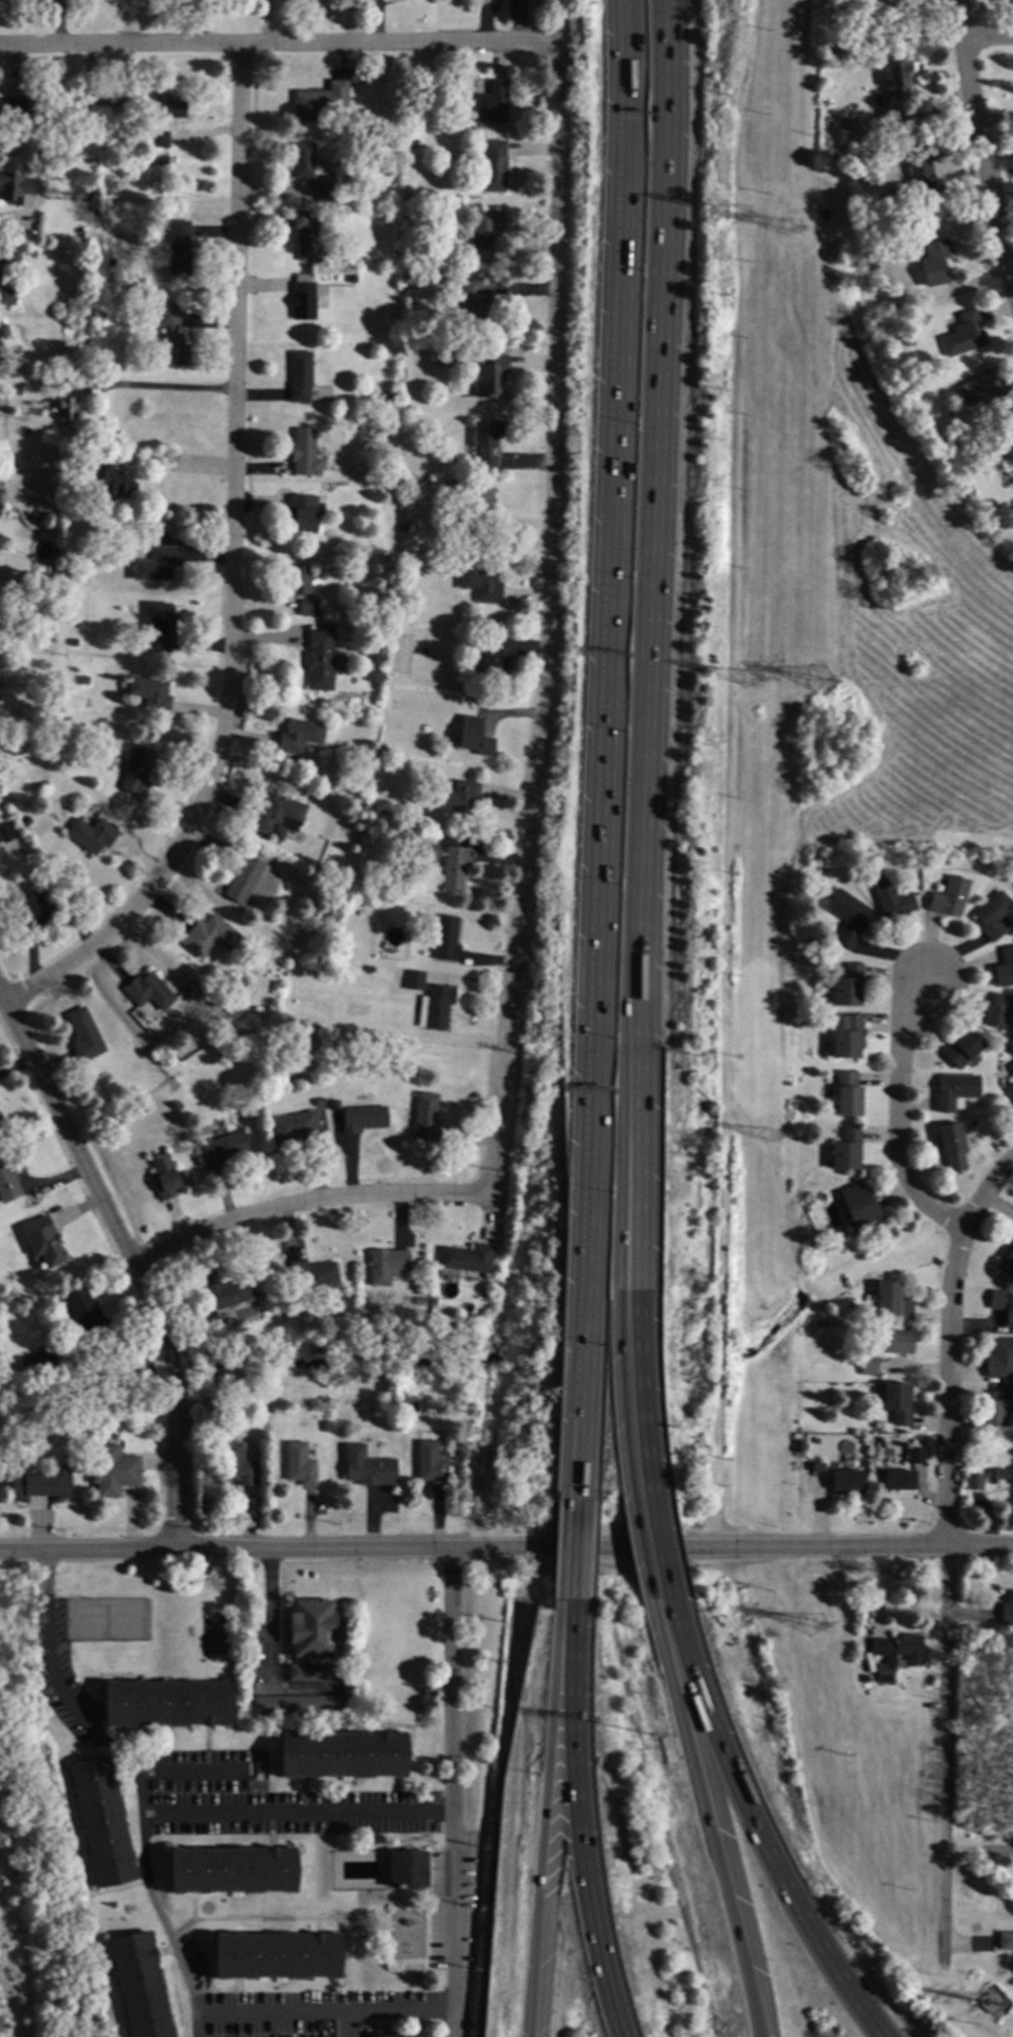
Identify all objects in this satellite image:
building: (887, 7)
road: (276, 39)
road: (987, 40)
building: (354, 77)
building: (898, 79)
building: (320, 101)
building: (493, 104)
building: (168, 107)
building: (13, 108)
building: (104, 108)
building: (409, 125)
building: (862, 128)
building: (160, 140)
road: (982, 140)
building: (343, 143)
building: (41, 147)
building: (49, 147)
building: (832, 157)
building: (164, 160)
building: (305, 162)
building: (493, 166)
building: (917, 171)
building: (17, 188)
building: (325, 191)
building: (83, 196)
power tower: (741, 216)
road: (16, 218)
power tower: (795, 232)
building: (484, 234)
building: (306, 235)
building: (178, 248)
building: (10, 254)
building: (109, 262)
building: (934, 263)
building: (353, 265)
building: (351, 278)
building: (403, 279)
building: (6, 295)
building: (302, 299)
building: (470, 307)
building: (100, 311)
building: (964, 336)
building: (892, 338)
building: (171, 340)
building: (405, 351)
building: (440, 358)
building: (89, 368)
building: (299, 377)
building: (488, 377)
building: (65, 382)
road: (158, 387)
building: (984, 390)
building: (387, 395)
building: (66, 409)
building: (486, 444)
building: (946, 447)
building: (1009, 449)
building: (951, 453)
building: (304, 454)
building: (88, 456)
road: (179, 465)
building: (115, 484)
building: (64, 505)
building: (471, 508)
building: (302, 513)
building: (402, 528)
building: (158, 537)
building: (156, 565)
road: (234, 565)
building: (53, 574)
building: (298, 581)
building: (480, 584)
building: (308, 608)
road: (547, 622)
building: (160, 628)
building: (49, 642)
building: (73, 642)
building: (421, 652)
building: (319, 661)
building: (495, 661)
power tower: (755, 680)
building: (83, 681)
power tower: (825, 684)
building: (149, 693)
building: (298, 736)
building: (474, 737)
road: (601, 745)
road: (645, 749)
building: (298, 764)
building: (137, 774)
building: (456, 798)
building: (380, 813)
building: (278, 814)
building: (25, 823)
building: (6, 832)
building: (91, 835)
building: (277, 835)
building: (8, 842)
building: (430, 842)
building: (453, 868)
building: (825, 868)
building: (854, 869)
building: (243, 878)
building: (344, 878)
building: (397, 892)
building: (949, 898)
building: (891, 899)
building: (34, 911)
building: (847, 917)
building: (992, 917)
building: (209, 937)
building: (444, 940)
road: (729, 951)
building: (369, 969)
building: (1004, 969)
building: (414, 981)
building: (847, 985)
building: (149, 992)
building: (436, 1006)
building: (998, 1011)
building: (84, 1035)
building: (841, 1037)
building: (149, 1039)
building: (135, 1048)
building: (961, 1050)
building: (1011, 1069)
building: (955, 1092)
building: (1010, 1093)
building: (847, 1095)
building: (318, 1102)
building: (334, 1106)
road: (900, 1115)
building: (363, 1119)
building: (425, 1119)
building: (294, 1127)
power tower: (773, 1140)
building: (223, 1148)
building: (951, 1148)
building: (845, 1150)
road: (99, 1173)
building: (163, 1177)
building: (9, 1179)
road: (987, 1193)
road: (304, 1204)
building: (858, 1208)
building: (43, 1243)
building: (466, 1259)
building: (1006, 1264)
building: (385, 1266)
building: (311, 1274)
building: (227, 1295)
building: (417, 1302)
building: (431, 1302)
building: (891, 1302)
building: (1002, 1305)
building: (80, 1311)
building: (209, 1322)
building: (894, 1342)
road: (737, 1356)
building: (999, 1360)
road: (158, 1362)
building: (36, 1363)
building: (868, 1367)
building: (896, 1403)
building: (396, 1407)
building: (997, 1407)
building: (411, 1408)
building: (878, 1425)
building: (325, 1427)
building: (816, 1441)
building: (444, 1443)
building: (799, 1447)
building: (915, 1456)
road: (162, 1460)
building: (299, 1464)
building: (429, 1464)
building: (237, 1466)
building: (817, 1467)
building: (366, 1468)
building: (113, 1472)
building: (999, 1476)
building: (846, 1481)
building: (898, 1481)
building: (974, 1483)
park: (0, 1485)
building: (40, 1488)
road: (529, 1546)
road: (573, 1548)
road: (22, 1551)
road: (655, 1552)
road: (470, 1565)
road: (947, 1591)
building: (1007, 1610)
park: (107, 1619)
building: (311, 1629)
park: (214, 1633)
power tower: (815, 1634)
road: (267, 1647)
building: (897, 1647)
road: (570, 1658)
parking lot: (58, 1661)
building: (310, 1673)
building: (883, 1674)
road: (54, 1680)
building: (864, 1680)
building: (299, 1703)
building: (167, 1704)
building: (342, 1756)
road: (192, 1771)
road: (450, 1792)
parking lot: (267, 1800)
road: (299, 1814)
road: (716, 1821)
building: (101, 1823)
road: (755, 1832)
park: (37, 1861)
building: (406, 1868)
building: (232, 1871)
road: (551, 1874)
road: (579, 1876)
parking lot: (452, 1900)
park: (407, 1934)
building: (1005, 1942)
building: (277, 1957)
building: (140, 1987)
power tower: (989, 2000)
parking lot: (294, 2006)
road: (203, 2011)
road: (341, 2023)
road: (198, 2024)
building: (406, 2036)

